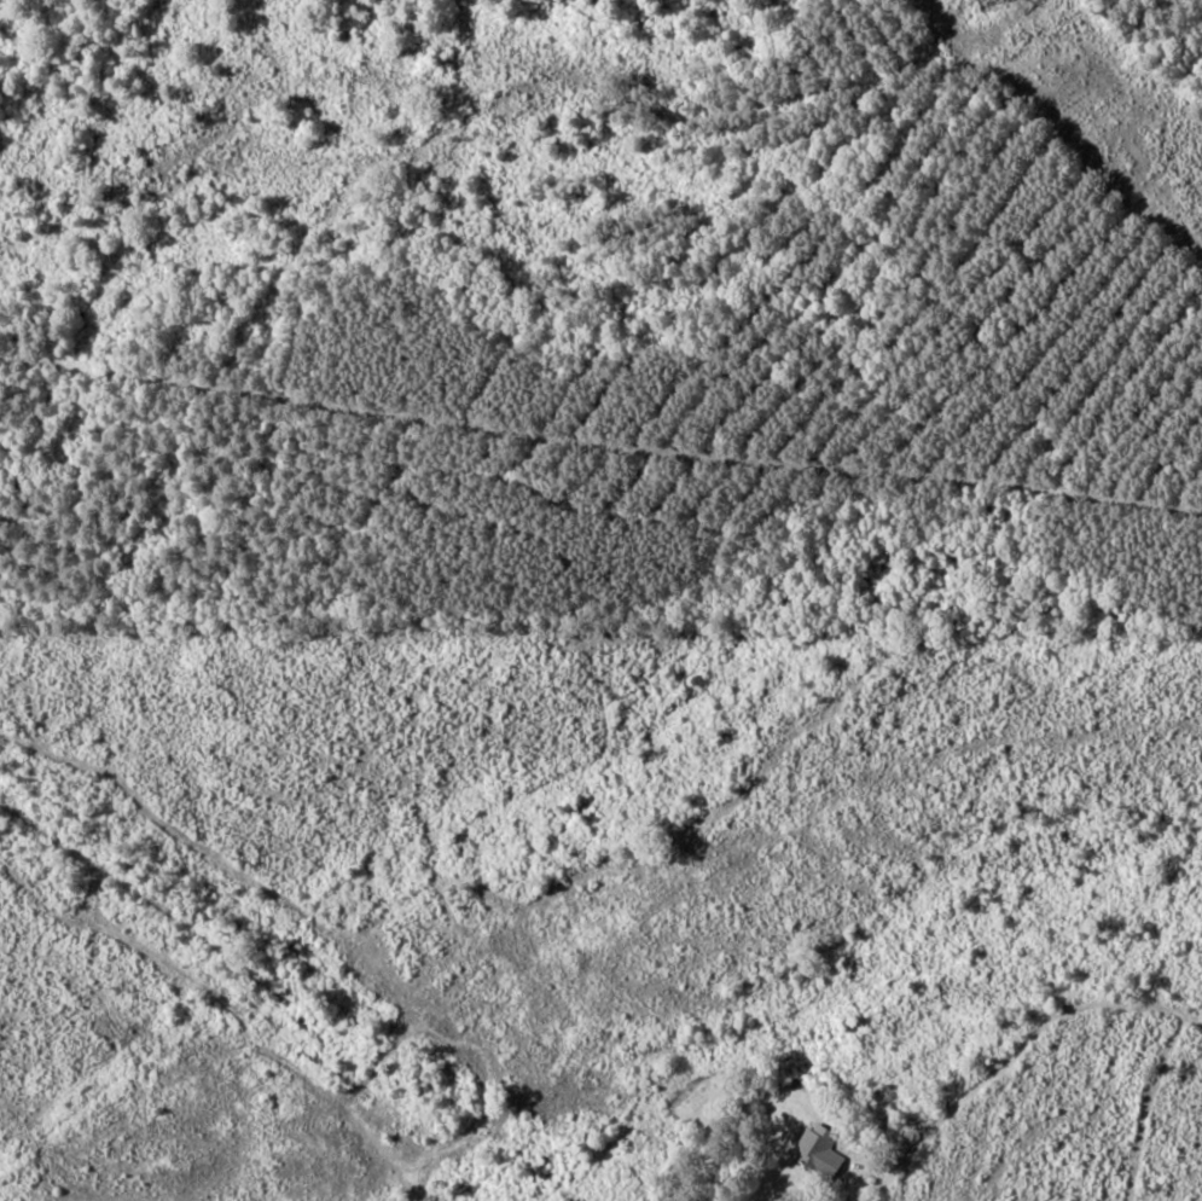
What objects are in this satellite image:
power tower: (989, 2)
building: (820, 1149)

